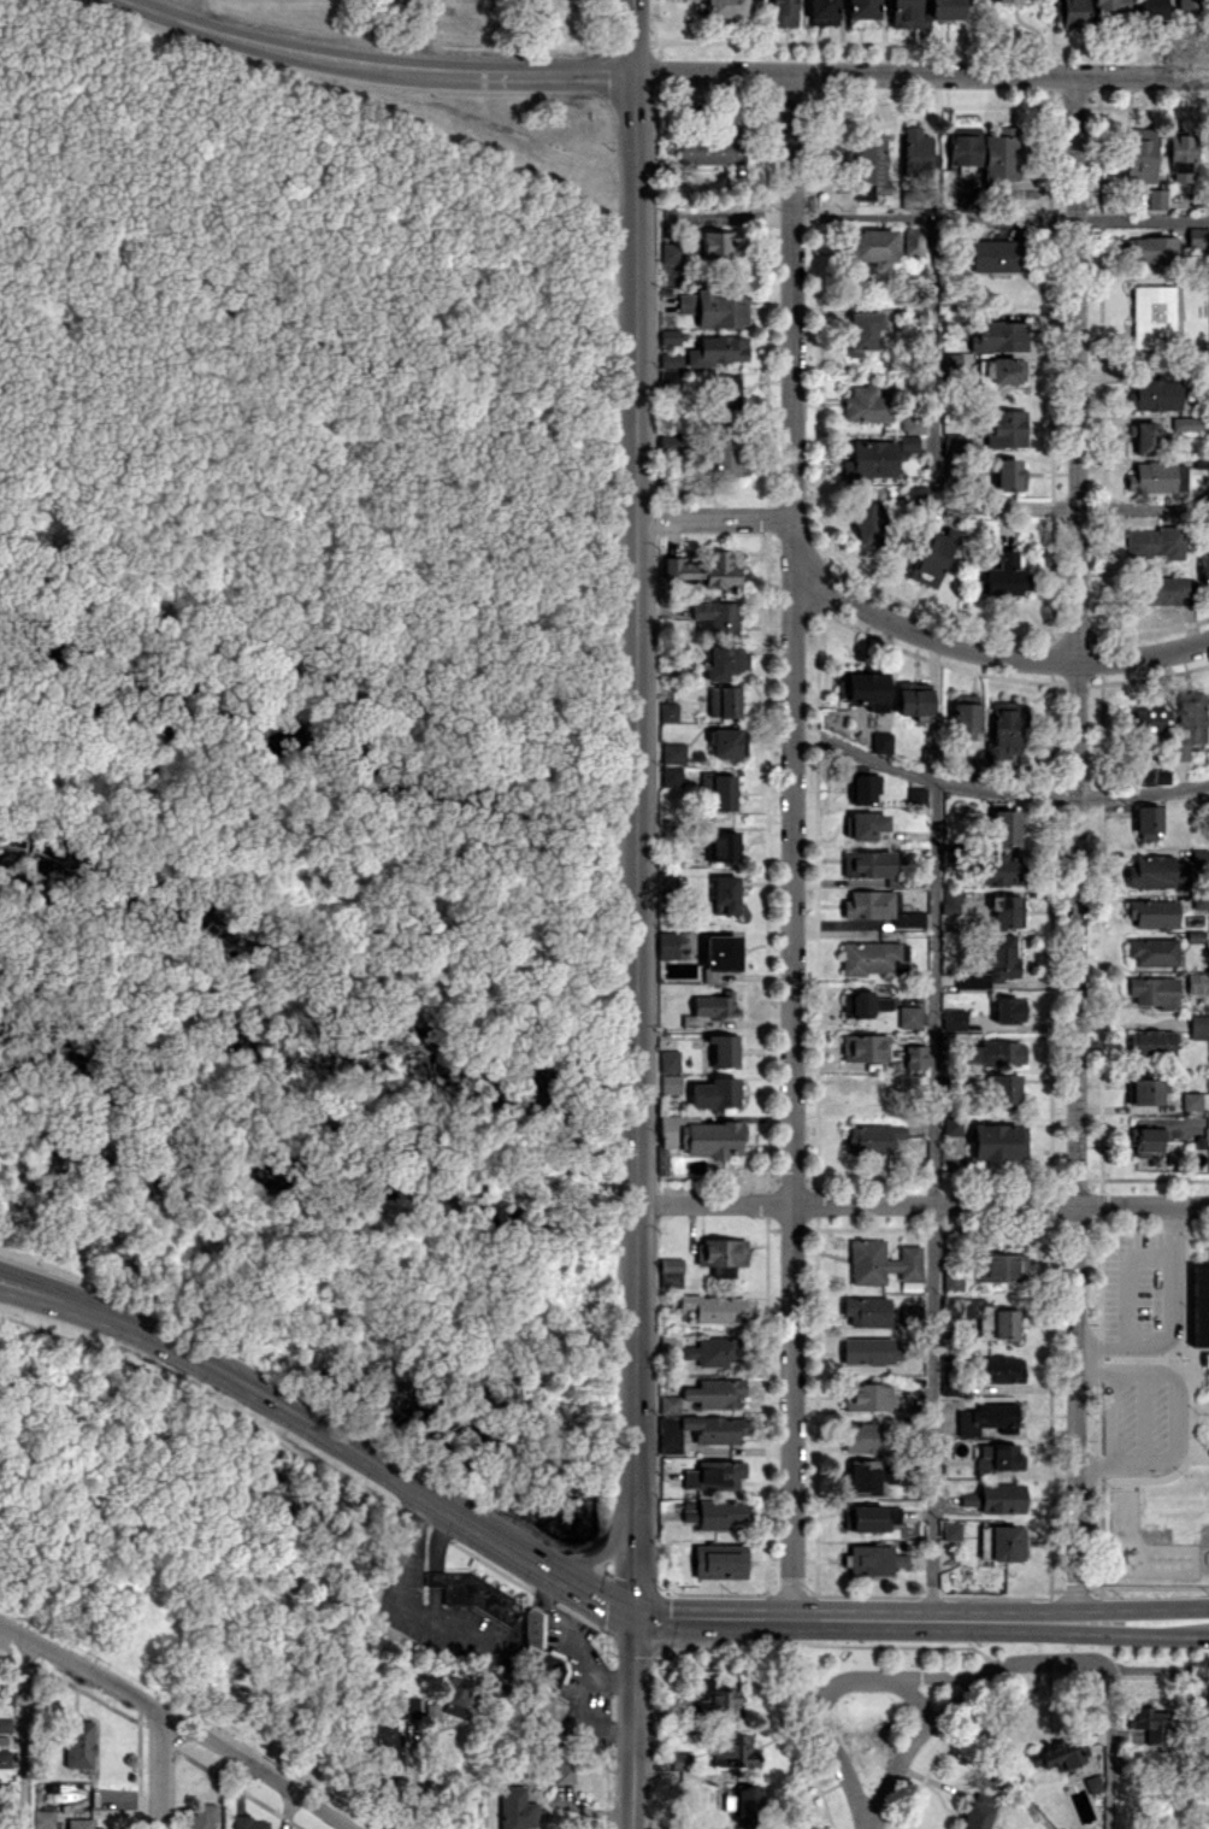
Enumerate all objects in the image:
building: (999, 0)
building: (1110, 5)
road: (160, 6)
building: (944, 8)
building: (1151, 8)
building: (1187, 8)
building: (783, 12)
building: (821, 12)
building: (861, 12)
building: (1069, 12)
building: (907, 13)
road: (633, 36)
road: (375, 69)
road: (920, 73)
building: (709, 148)
building: (962, 148)
building: (915, 151)
building: (1002, 153)
building: (1139, 154)
building: (1180, 155)
building: (872, 164)
building: (1155, 198)
road: (999, 217)
building: (913, 240)
building: (716, 243)
building: (871, 245)
building: (1149, 248)
building: (671, 252)
building: (996, 255)
building: (715, 306)
building: (1154, 314)
building: (861, 330)
building: (999, 335)
building: (668, 336)
building: (716, 349)
road: (931, 349)
building: (670, 359)
building: (999, 370)
building: (670, 378)
building: (725, 394)
building: (1154, 394)
building: (865, 405)
building: (912, 422)
building: (1187, 422)
building: (1148, 437)
building: (668, 441)
building: (907, 443)
building: (951, 443)
building: (726, 458)
building: (869, 460)
building: (1009, 475)
building: (1156, 476)
road: (945, 493)
building: (914, 495)
road: (1198, 495)
road: (1073, 505)
road: (712, 516)
building: (863, 522)
building: (1154, 542)
building: (928, 557)
building: (1204, 567)
building: (702, 569)
building: (999, 575)
building: (1167, 589)
building: (715, 616)
road: (991, 653)
building: (724, 660)
building: (863, 687)
building: (912, 698)
building: (721, 701)
building: (668, 711)
building: (963, 713)
building: (1189, 722)
building: (1149, 723)
building: (1003, 728)
building: (726, 742)
building: (880, 742)
building: (673, 752)
building: (928, 757)
building: (974, 766)
building: (1154, 775)
building: (671, 776)
building: (860, 786)
building: (719, 789)
road: (995, 789)
building: (915, 794)
building: (1146, 822)
building: (1002, 824)
building: (863, 825)
road: (635, 841)
road: (791, 843)
building: (721, 845)
road: (1075, 845)
building: (1198, 855)
building: (867, 863)
building: (999, 869)
building: (1156, 871)
building: (667, 882)
building: (724, 894)
building: (950, 900)
building: (1201, 900)
building: (878, 908)
building: (1007, 911)
building: (1152, 912)
building: (673, 945)
building: (1152, 951)
building: (719, 954)
building: (873, 957)
building: (992, 963)
building: (1196, 982)
building: (1154, 990)
building: (713, 1004)
building: (863, 1004)
building: (1008, 1008)
building: (909, 1016)
building: (953, 1019)
building: (1198, 1024)
building: (1151, 1043)
building: (865, 1047)
building: (723, 1051)
building: (995, 1052)
building: (914, 1057)
building: (668, 1060)
building: (670, 1083)
building: (1002, 1090)
building: (1145, 1090)
building: (714, 1093)
building: (1191, 1100)
building: (951, 1124)
building: (873, 1137)
building: (1148, 1140)
building: (995, 1141)
road: (933, 1195)
road: (921, 1204)
building: (721, 1254)
building: (880, 1262)
building: (1001, 1266)
building: (670, 1271)
building: (953, 1280)
parking lot: (1140, 1289)
building: (1199, 1306)
building: (713, 1307)
building: (866, 1310)
building: (909, 1313)
building: (981, 1316)
road: (1172, 1319)
building: (668, 1346)
building: (714, 1351)
building: (869, 1351)
building: (1205, 1359)
building: (999, 1369)
building: (715, 1392)
building: (867, 1396)
building: (668, 1404)
road: (1176, 1416)
parking lot: (1140, 1417)
building: (989, 1418)
building: (698, 1430)
road: (319, 1435)
building: (865, 1436)
building: (998, 1455)
building: (713, 1474)
building: (863, 1477)
building: (996, 1496)
building: (713, 1512)
building: (869, 1517)
building: (950, 1529)
building: (1002, 1542)
road: (596, 1552)
building: (873, 1559)
building: (719, 1560)
building: (472, 1593)
road: (406, 1606)
traffic signals: (632, 1610)
road: (920, 1616)
building: (541, 1669)
road: (836, 1682)
building: (6, 1694)
road: (961, 1694)
building: (456, 1699)
road: (915, 1699)
building: (721, 1702)
building: (431, 1711)
road: (629, 1719)
road: (175, 1723)
building: (394, 1723)
building: (1150, 1723)
building: (5, 1724)
road: (24, 1734)
building: (78, 1743)
building: (733, 1751)
road: (1109, 1753)
building: (1055, 1754)
building: (679, 1760)
road: (161, 1772)
building: (562, 1772)
road: (413, 1780)
road: (426, 1781)
building: (1092, 1783)
building: (729, 1801)
building: (747, 1806)
building: (515, 1809)
building: (201, 1816)
building: (974, 1816)
building: (42, 1818)
building: (247, 1822)
building: (81, 1823)

